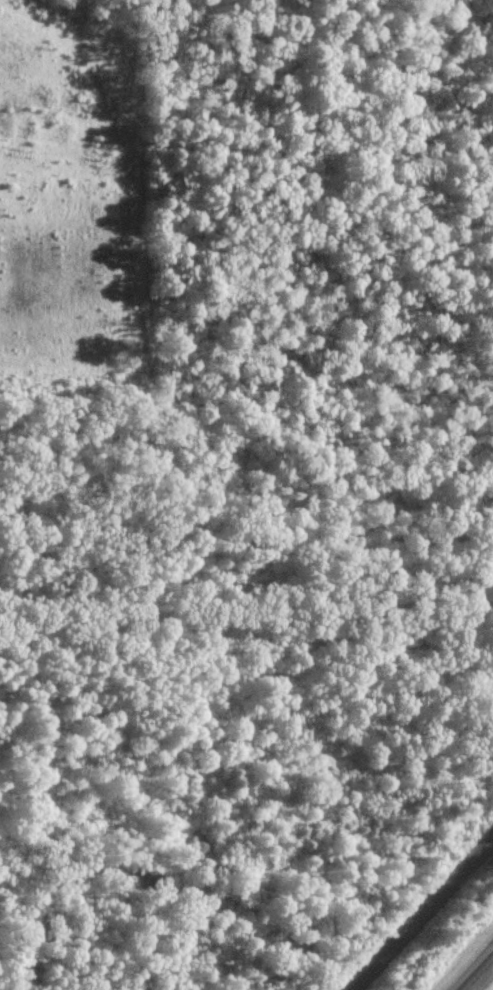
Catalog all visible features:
railway: (419, 913)
road: (480, 976)

